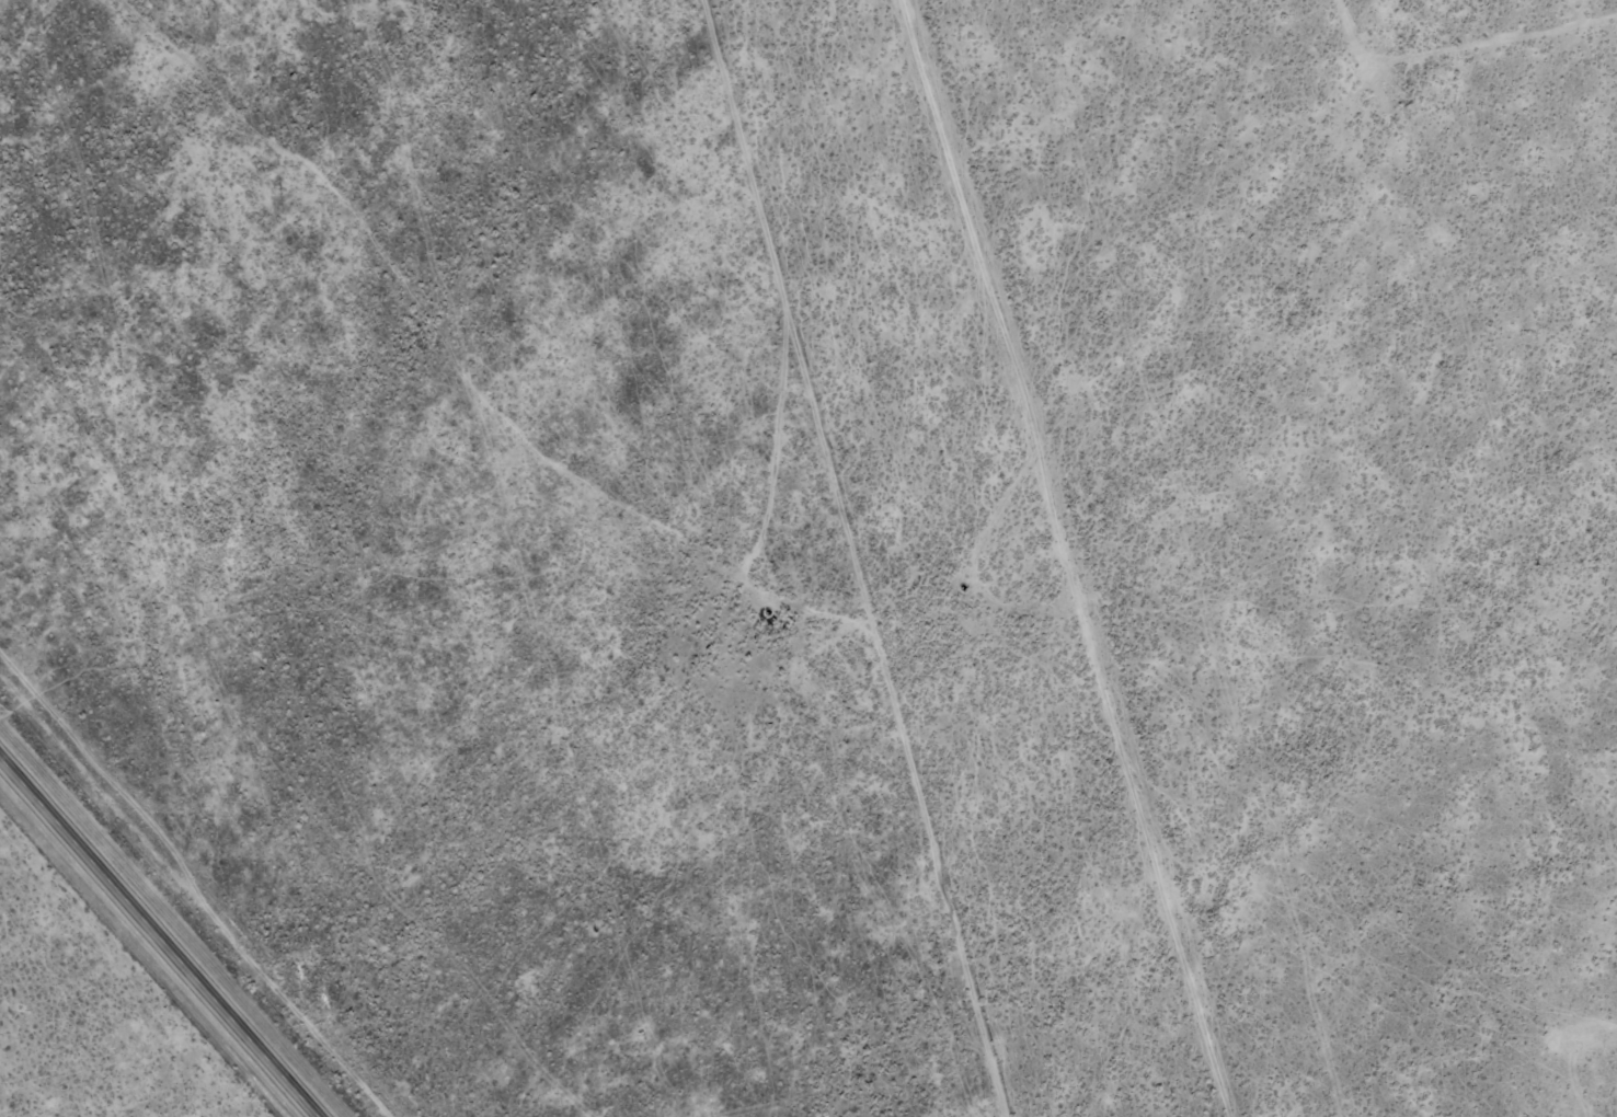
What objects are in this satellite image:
road: (159, 937)

